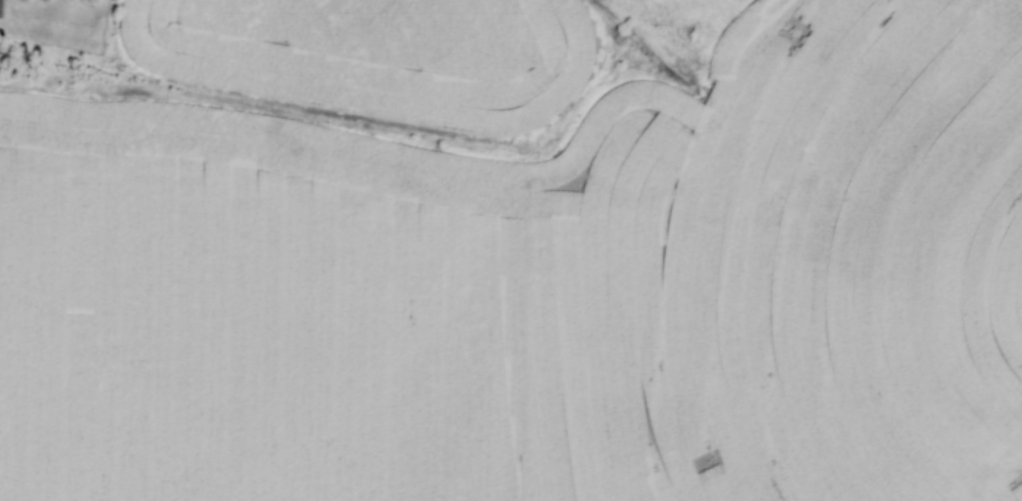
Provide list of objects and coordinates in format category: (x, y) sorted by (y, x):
building: (0, 9)

